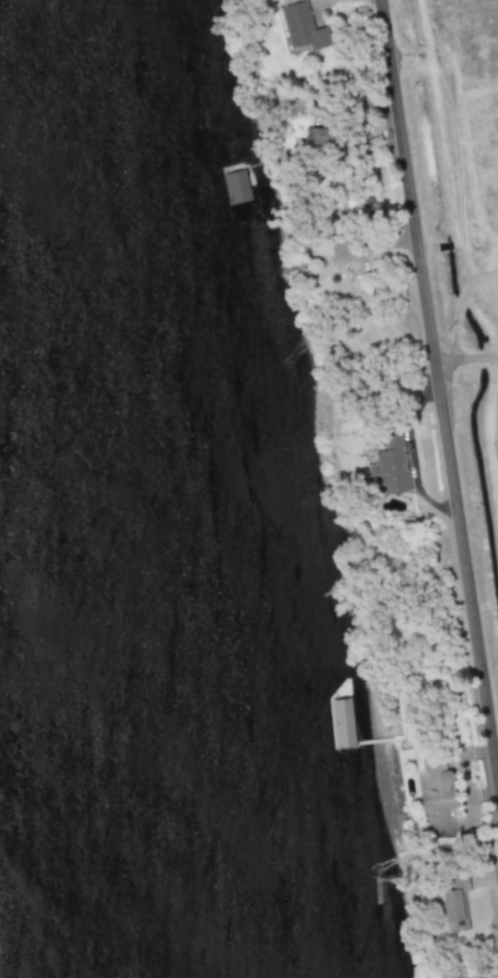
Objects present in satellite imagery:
building: (303, 26)
building: (318, 136)
building: (237, 186)
building: (367, 205)
road: (467, 358)
road: (439, 382)
building: (391, 464)
river: (132, 488)
building: (342, 723)
building: (432, 789)
building: (461, 882)
building: (454, 910)

